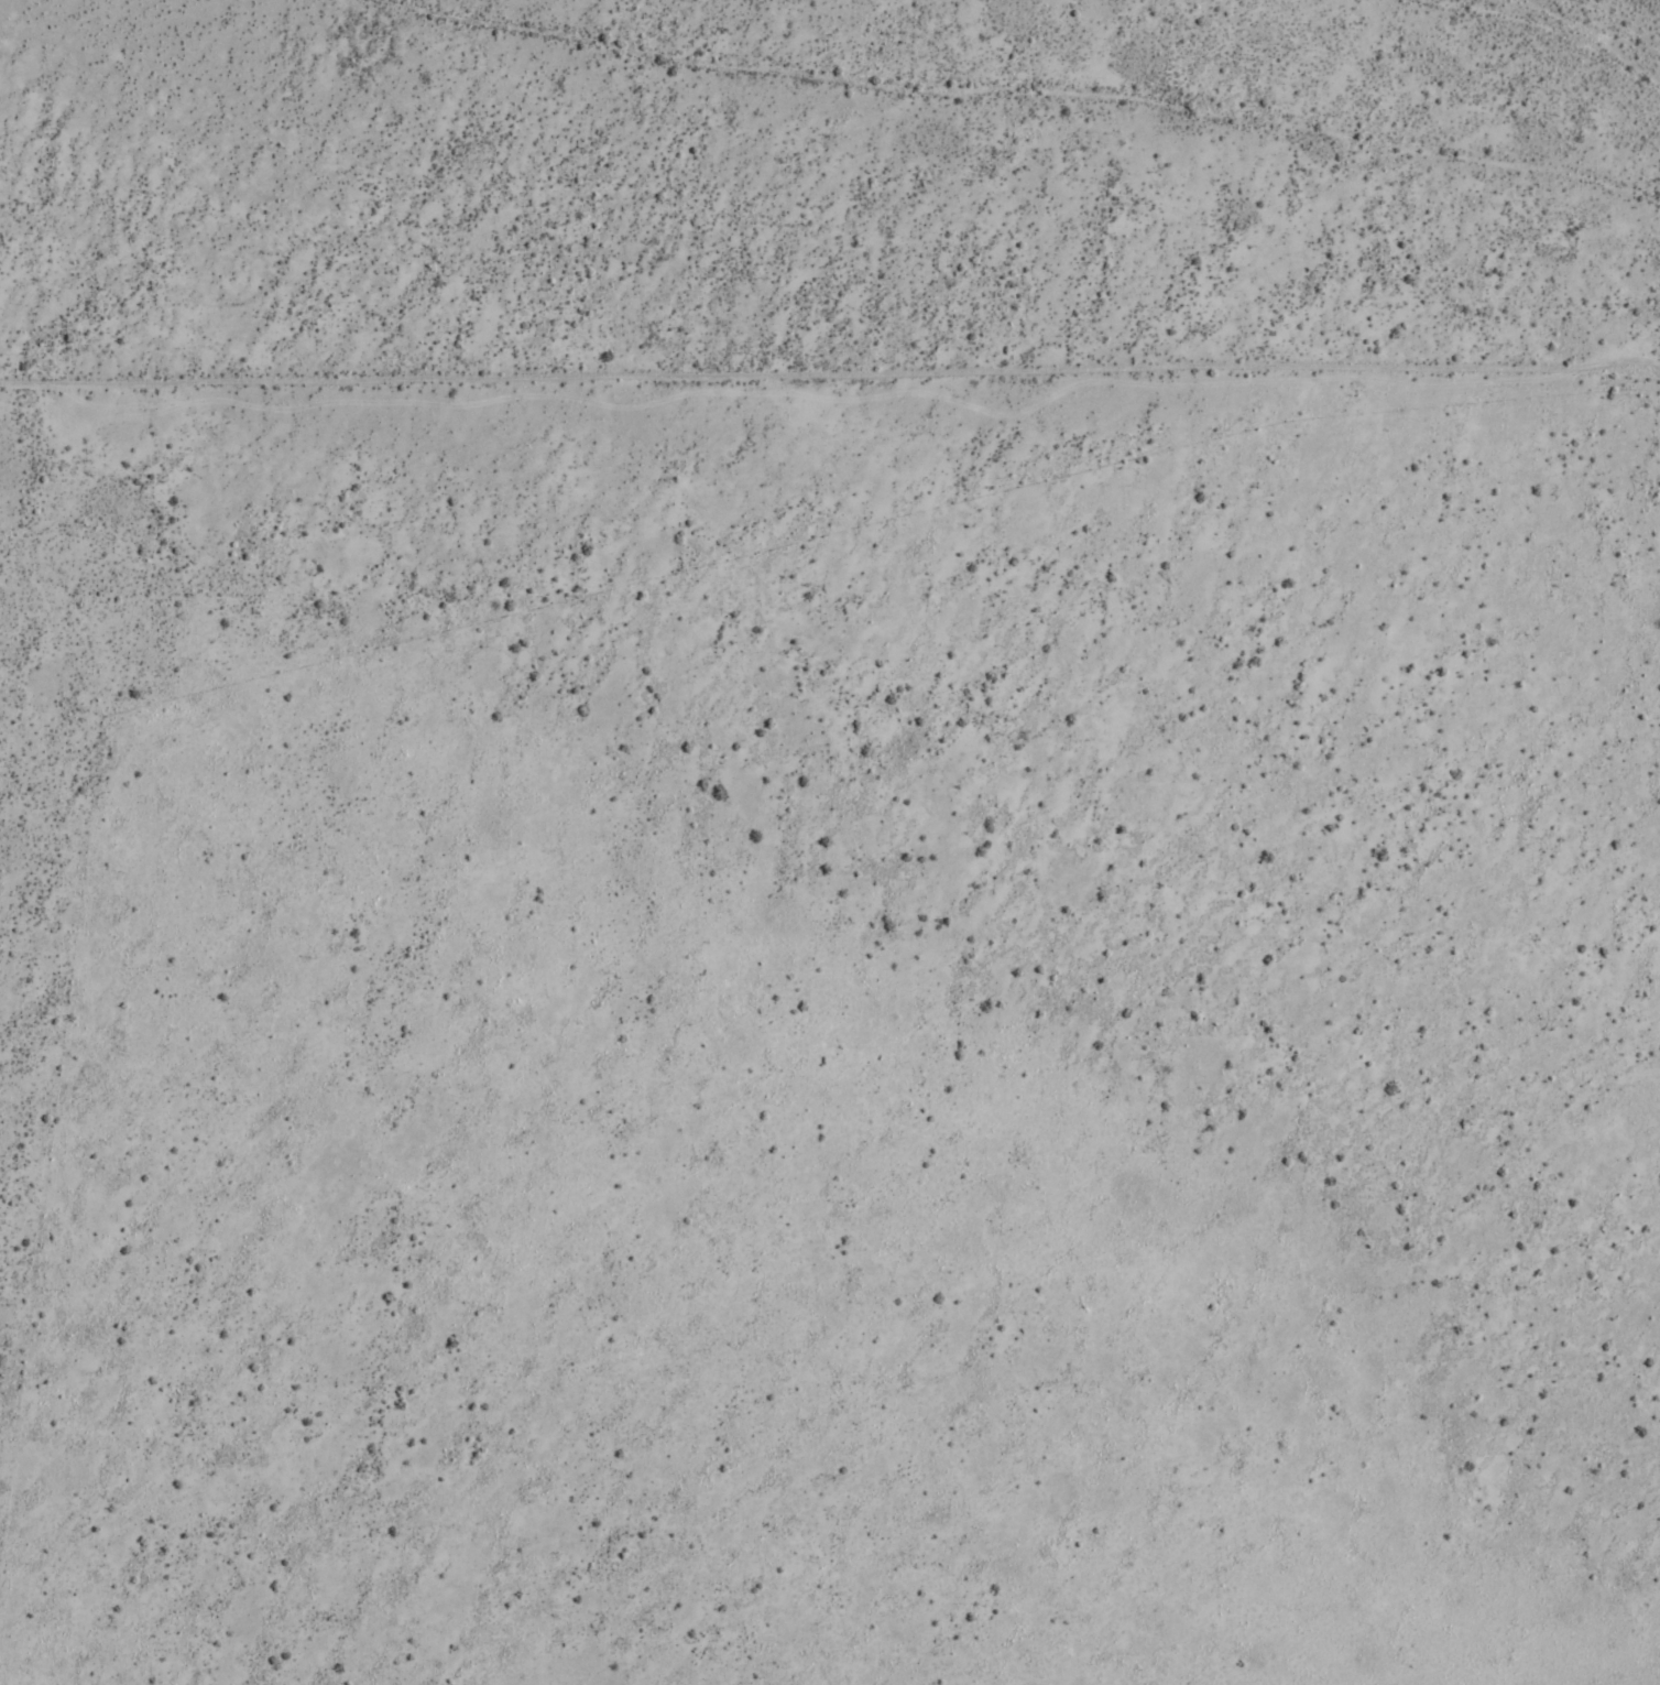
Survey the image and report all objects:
road: (1404, 29)
road: (1570, 209)
road: (831, 363)

